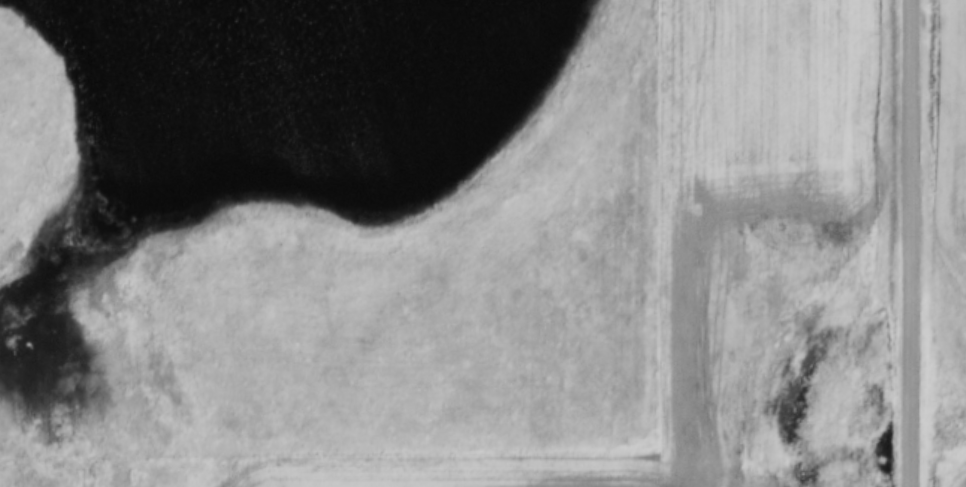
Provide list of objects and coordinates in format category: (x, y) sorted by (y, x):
road: (909, 243)

